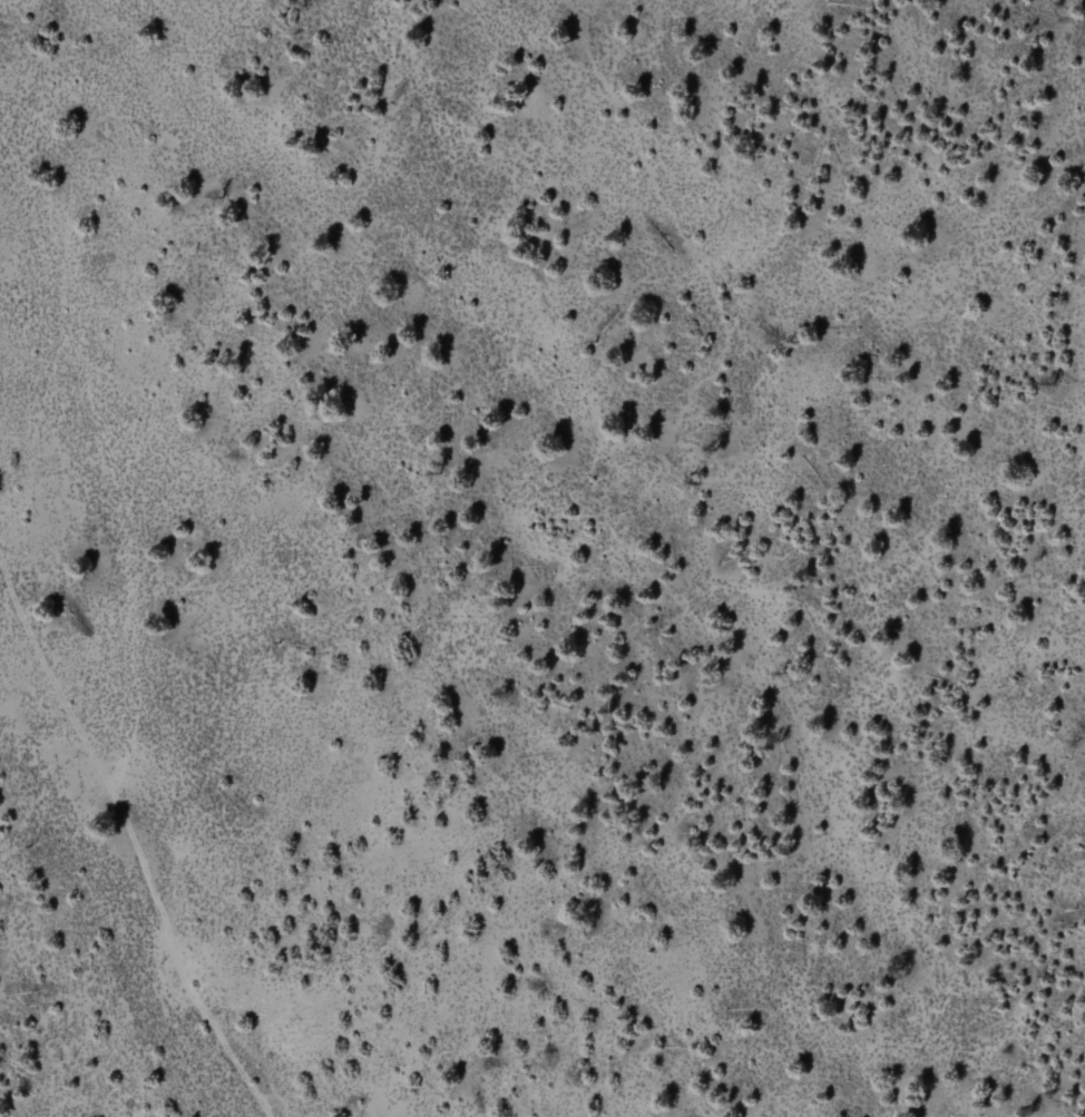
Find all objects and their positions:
road: (126, 851)

